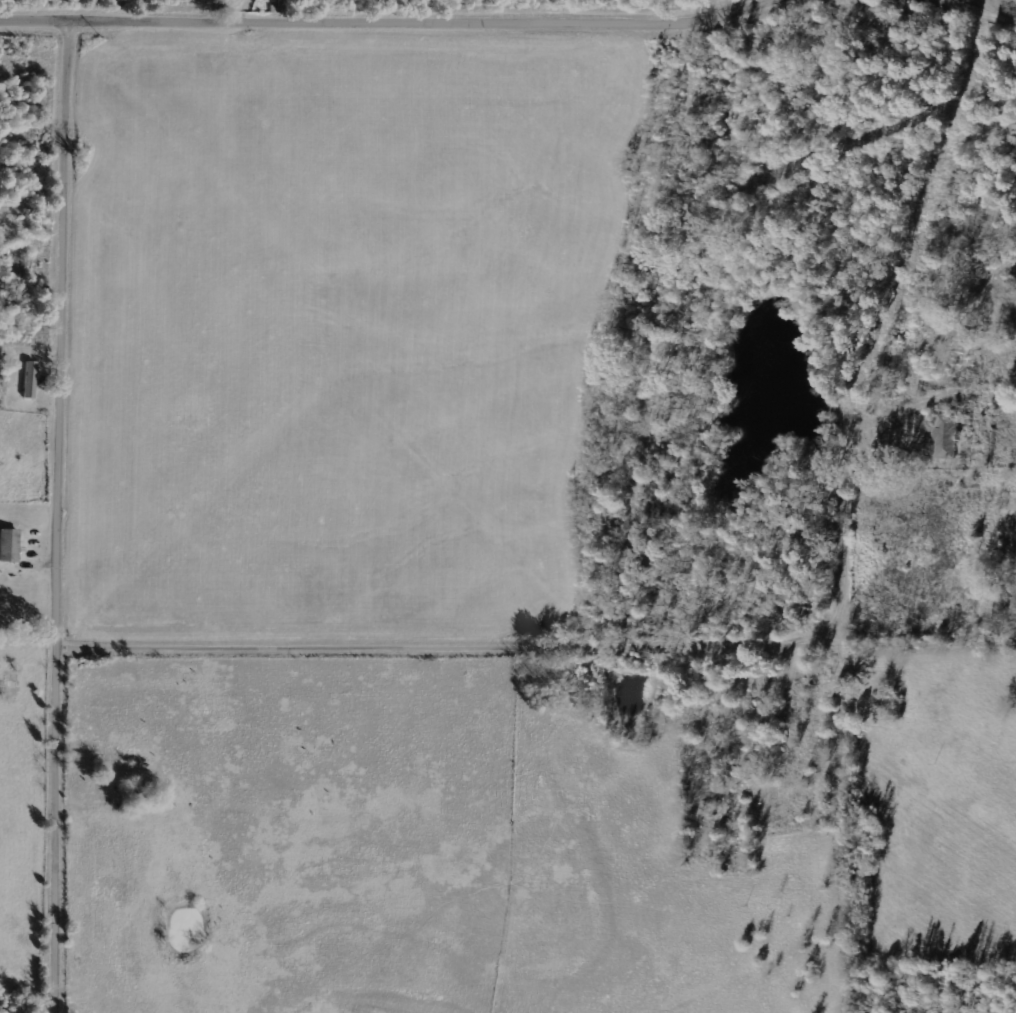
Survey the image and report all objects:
road: (993, 5)
road: (386, 19)
building: (946, 436)
road: (65, 514)
building: (8, 544)
road: (562, 641)

